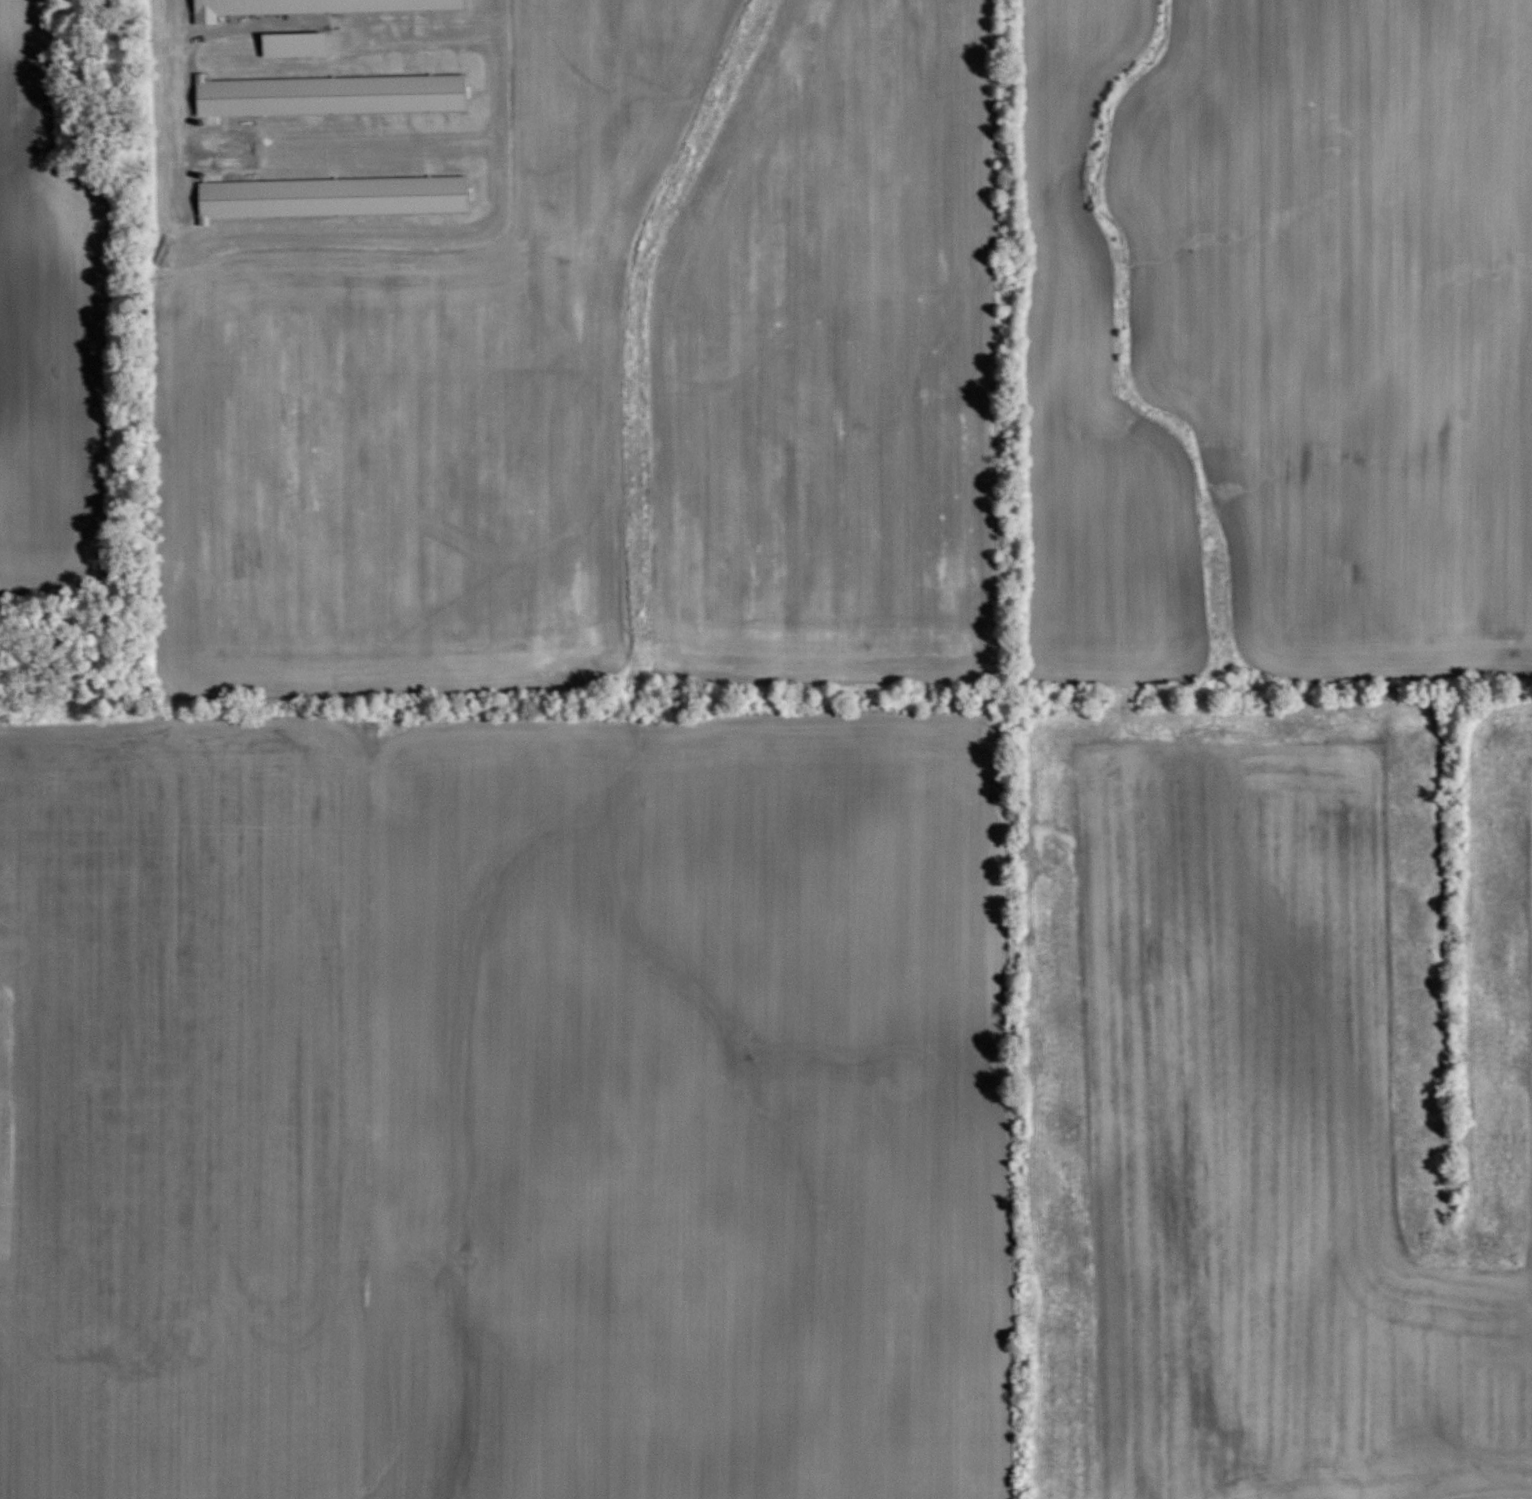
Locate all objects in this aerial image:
road: (173, 100)

